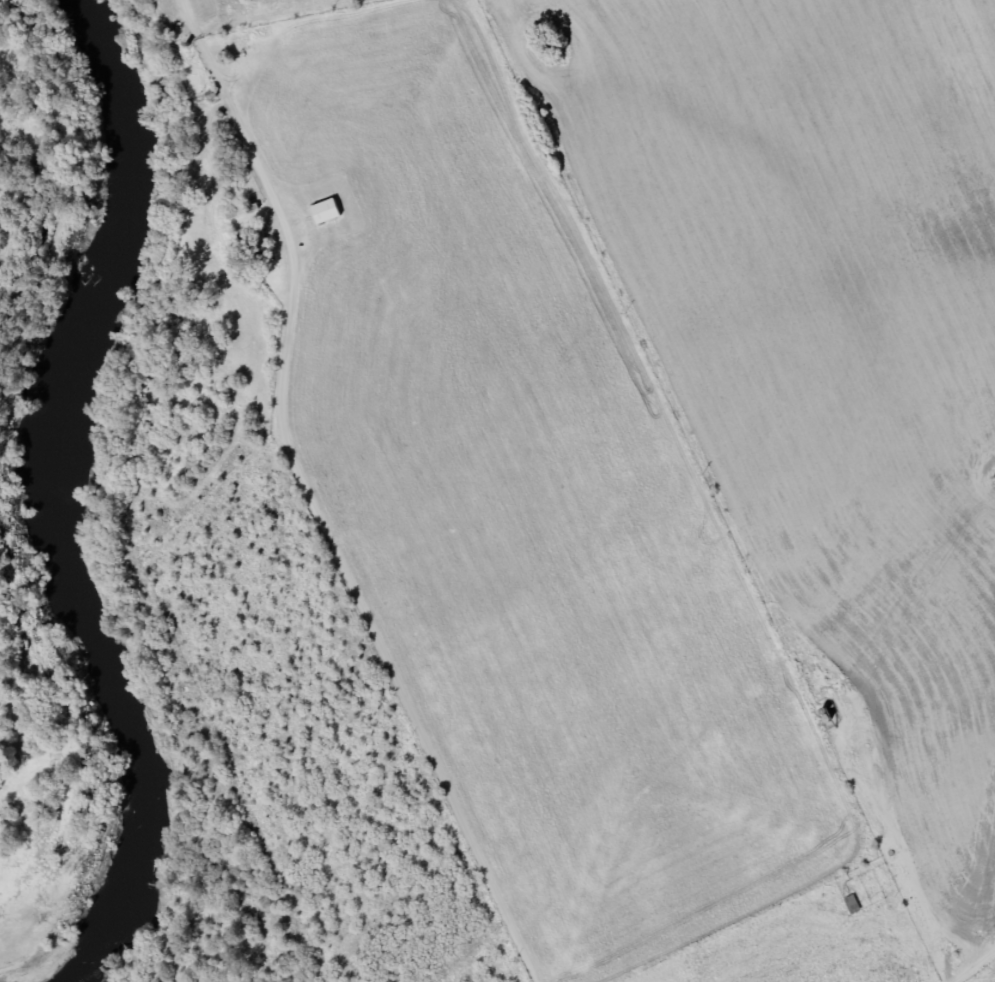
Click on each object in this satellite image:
building: (259, 240)
river: (50, 497)
road: (373, 627)
building: (852, 906)

